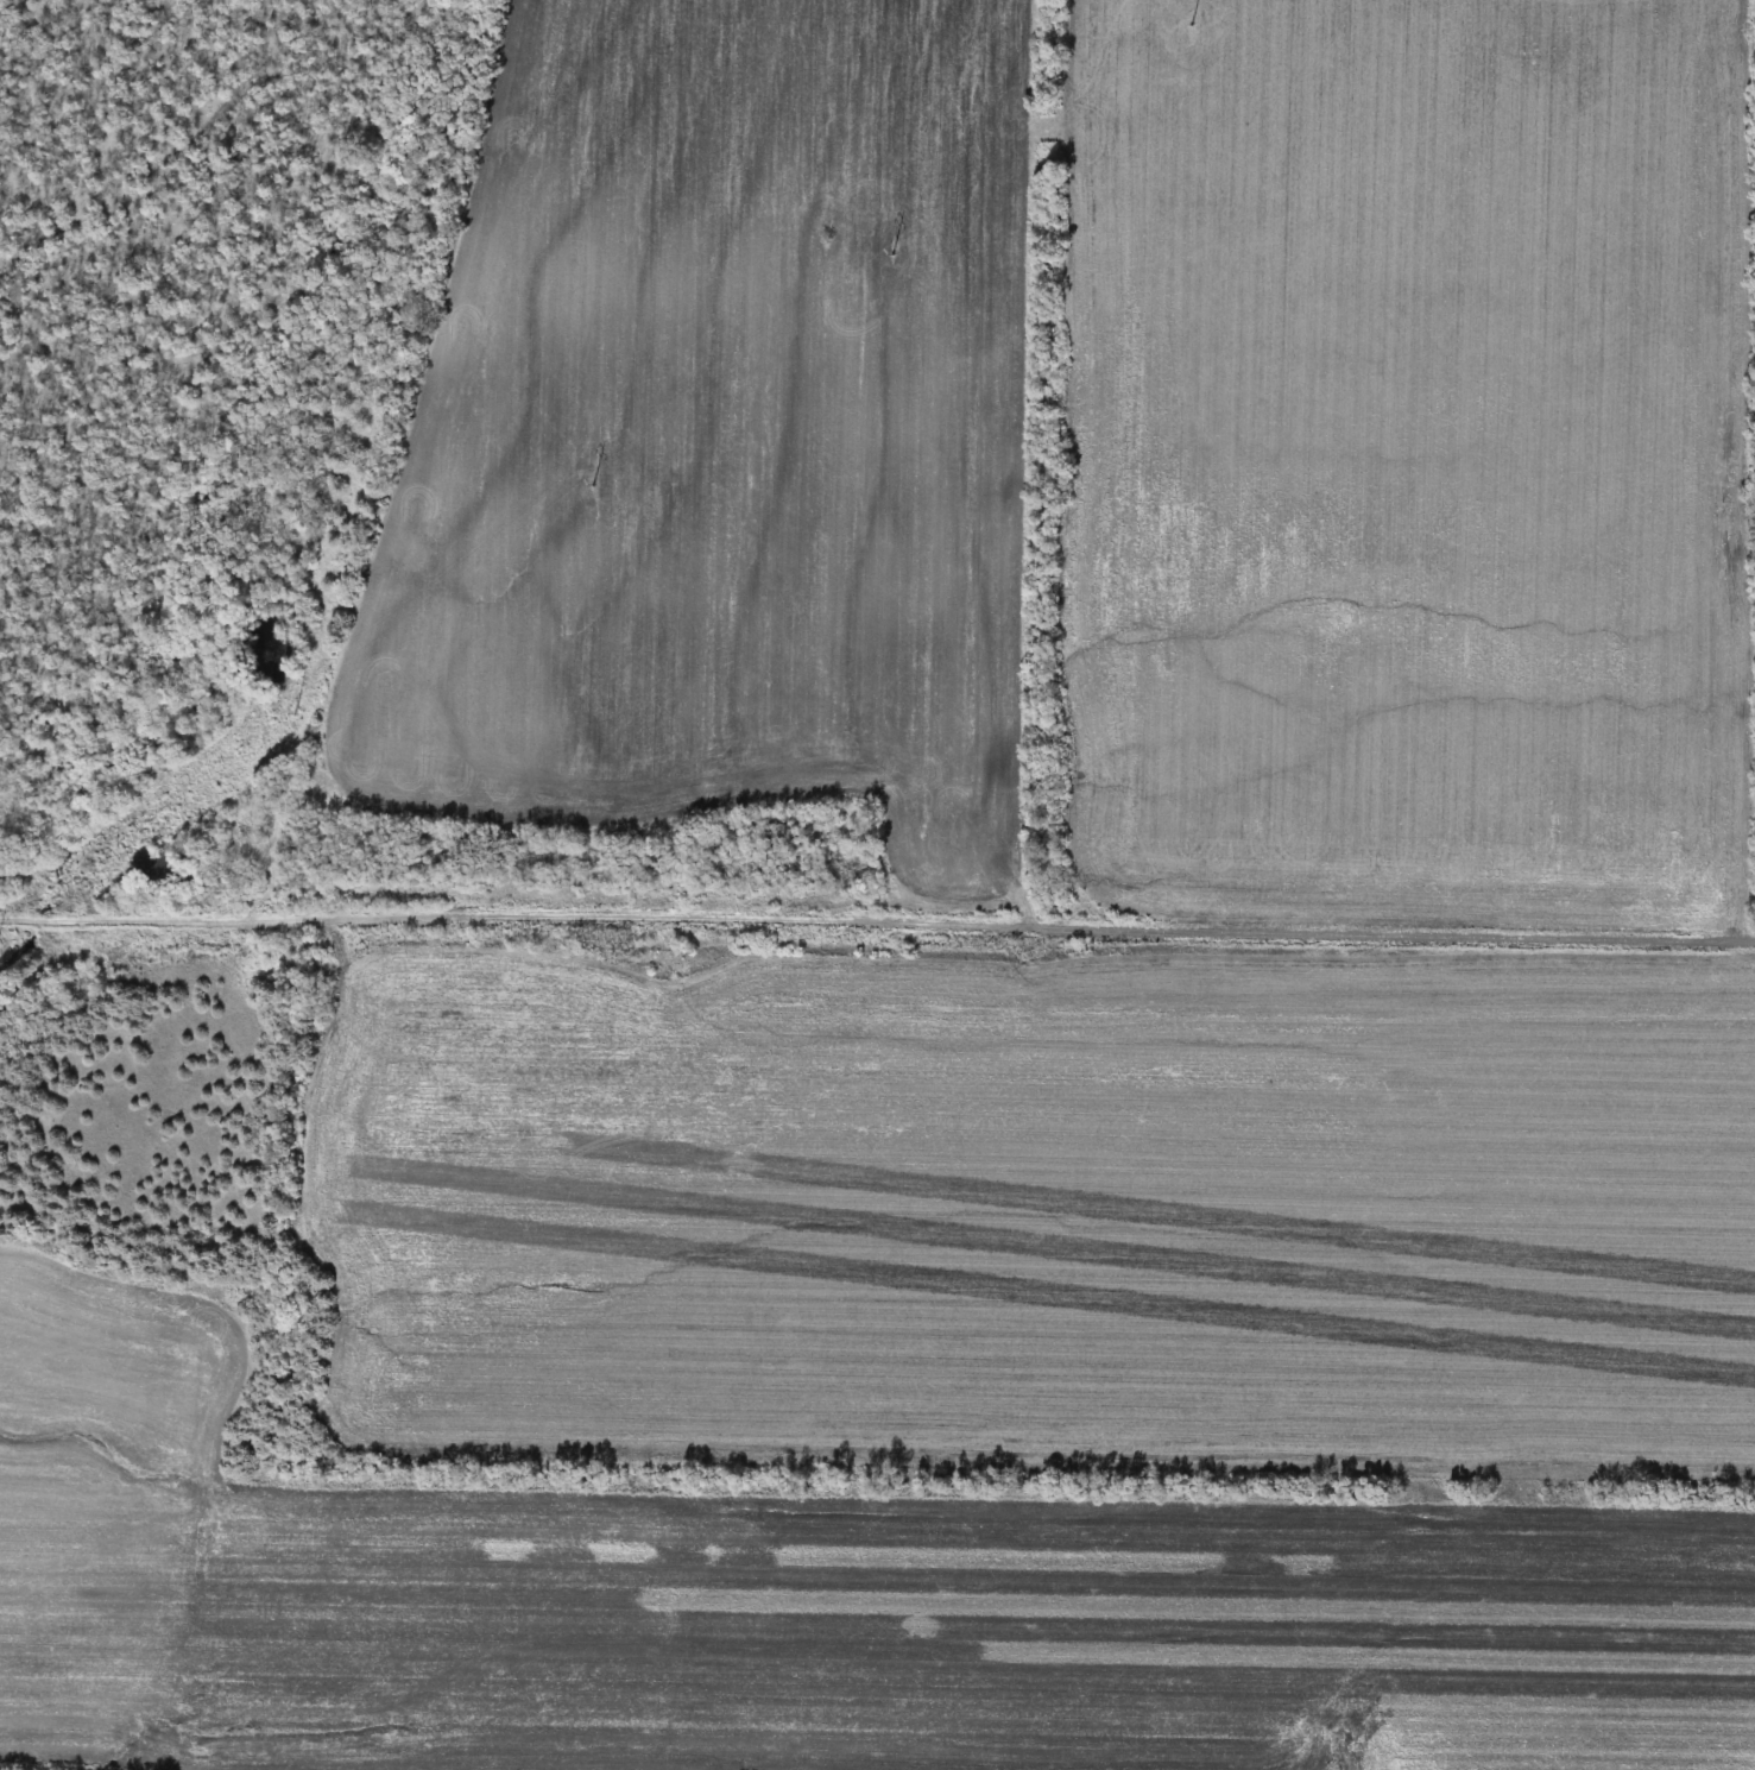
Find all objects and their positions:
power tower: (1193, 25)
power tower: (901, 258)
power tower: (601, 490)
power tower: (304, 719)
road: (870, 911)
power tower: (23, 945)

